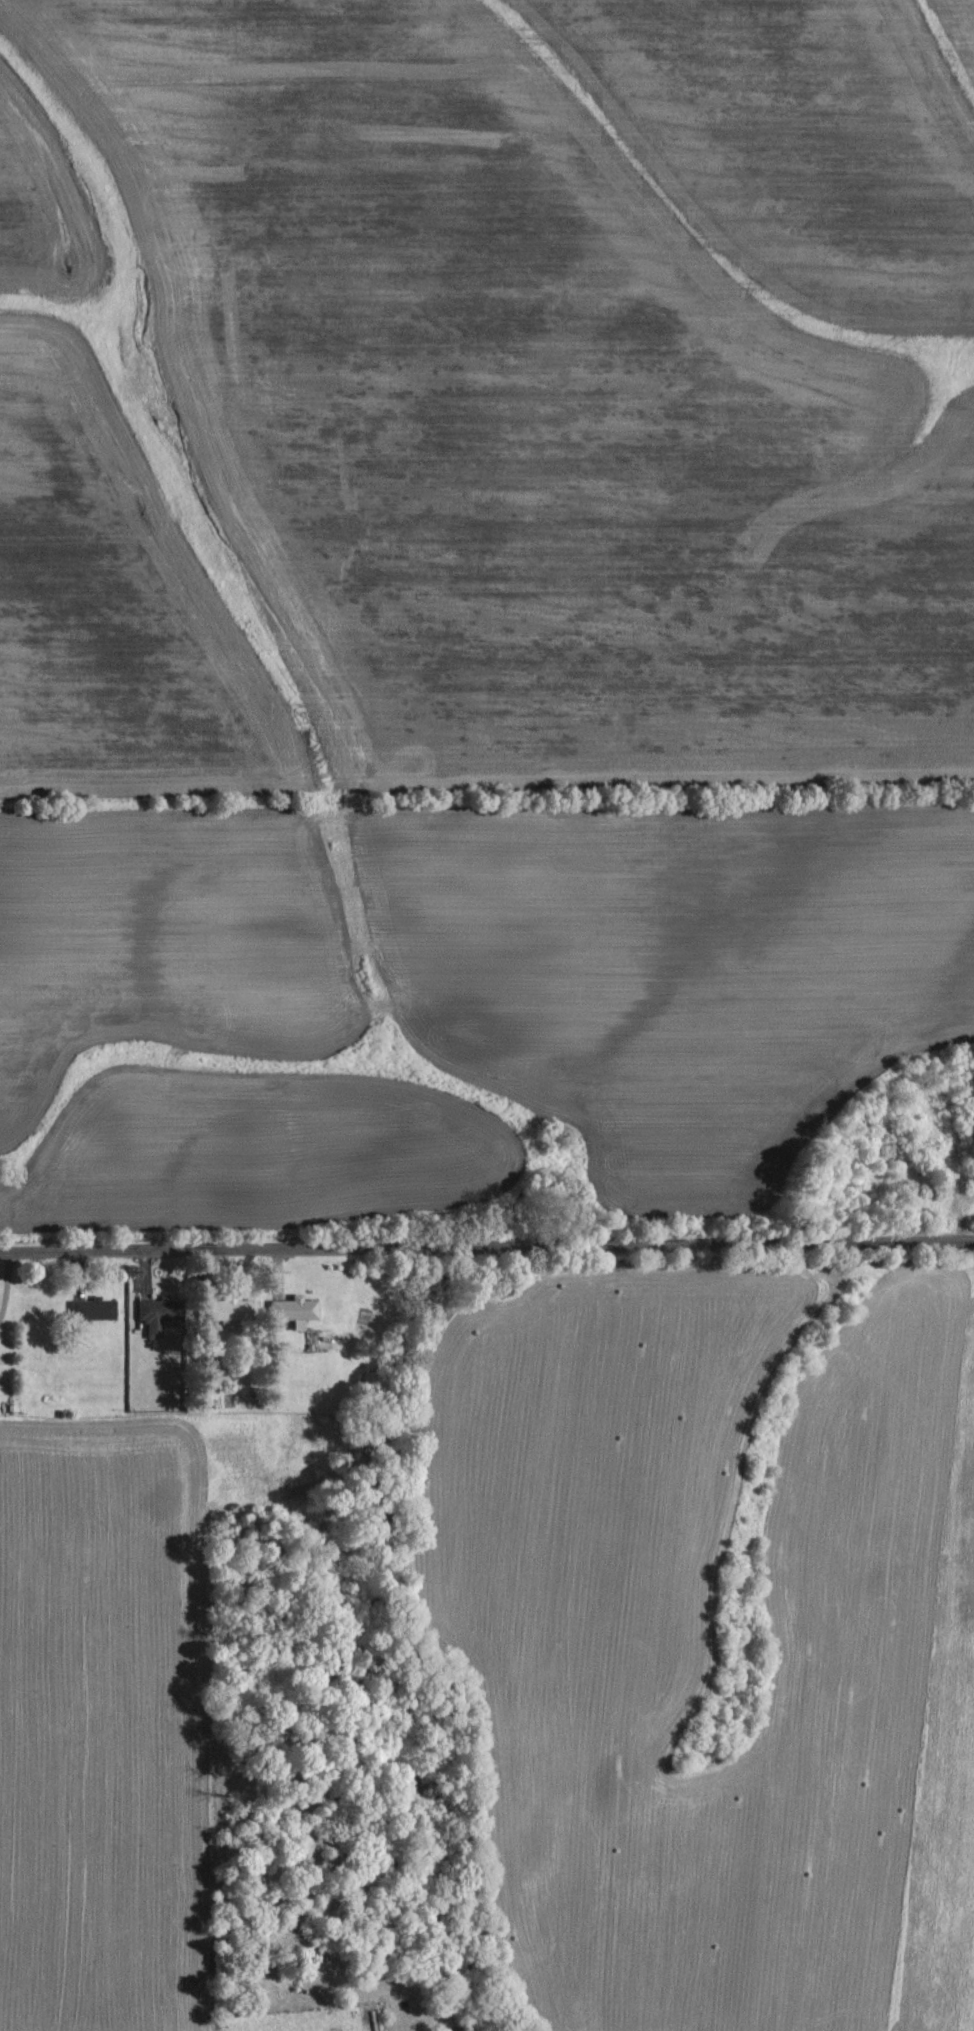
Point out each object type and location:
road: (487, 1246)
building: (91, 1310)
building: (222, 1311)
building: (291, 1311)
building: (154, 1316)

